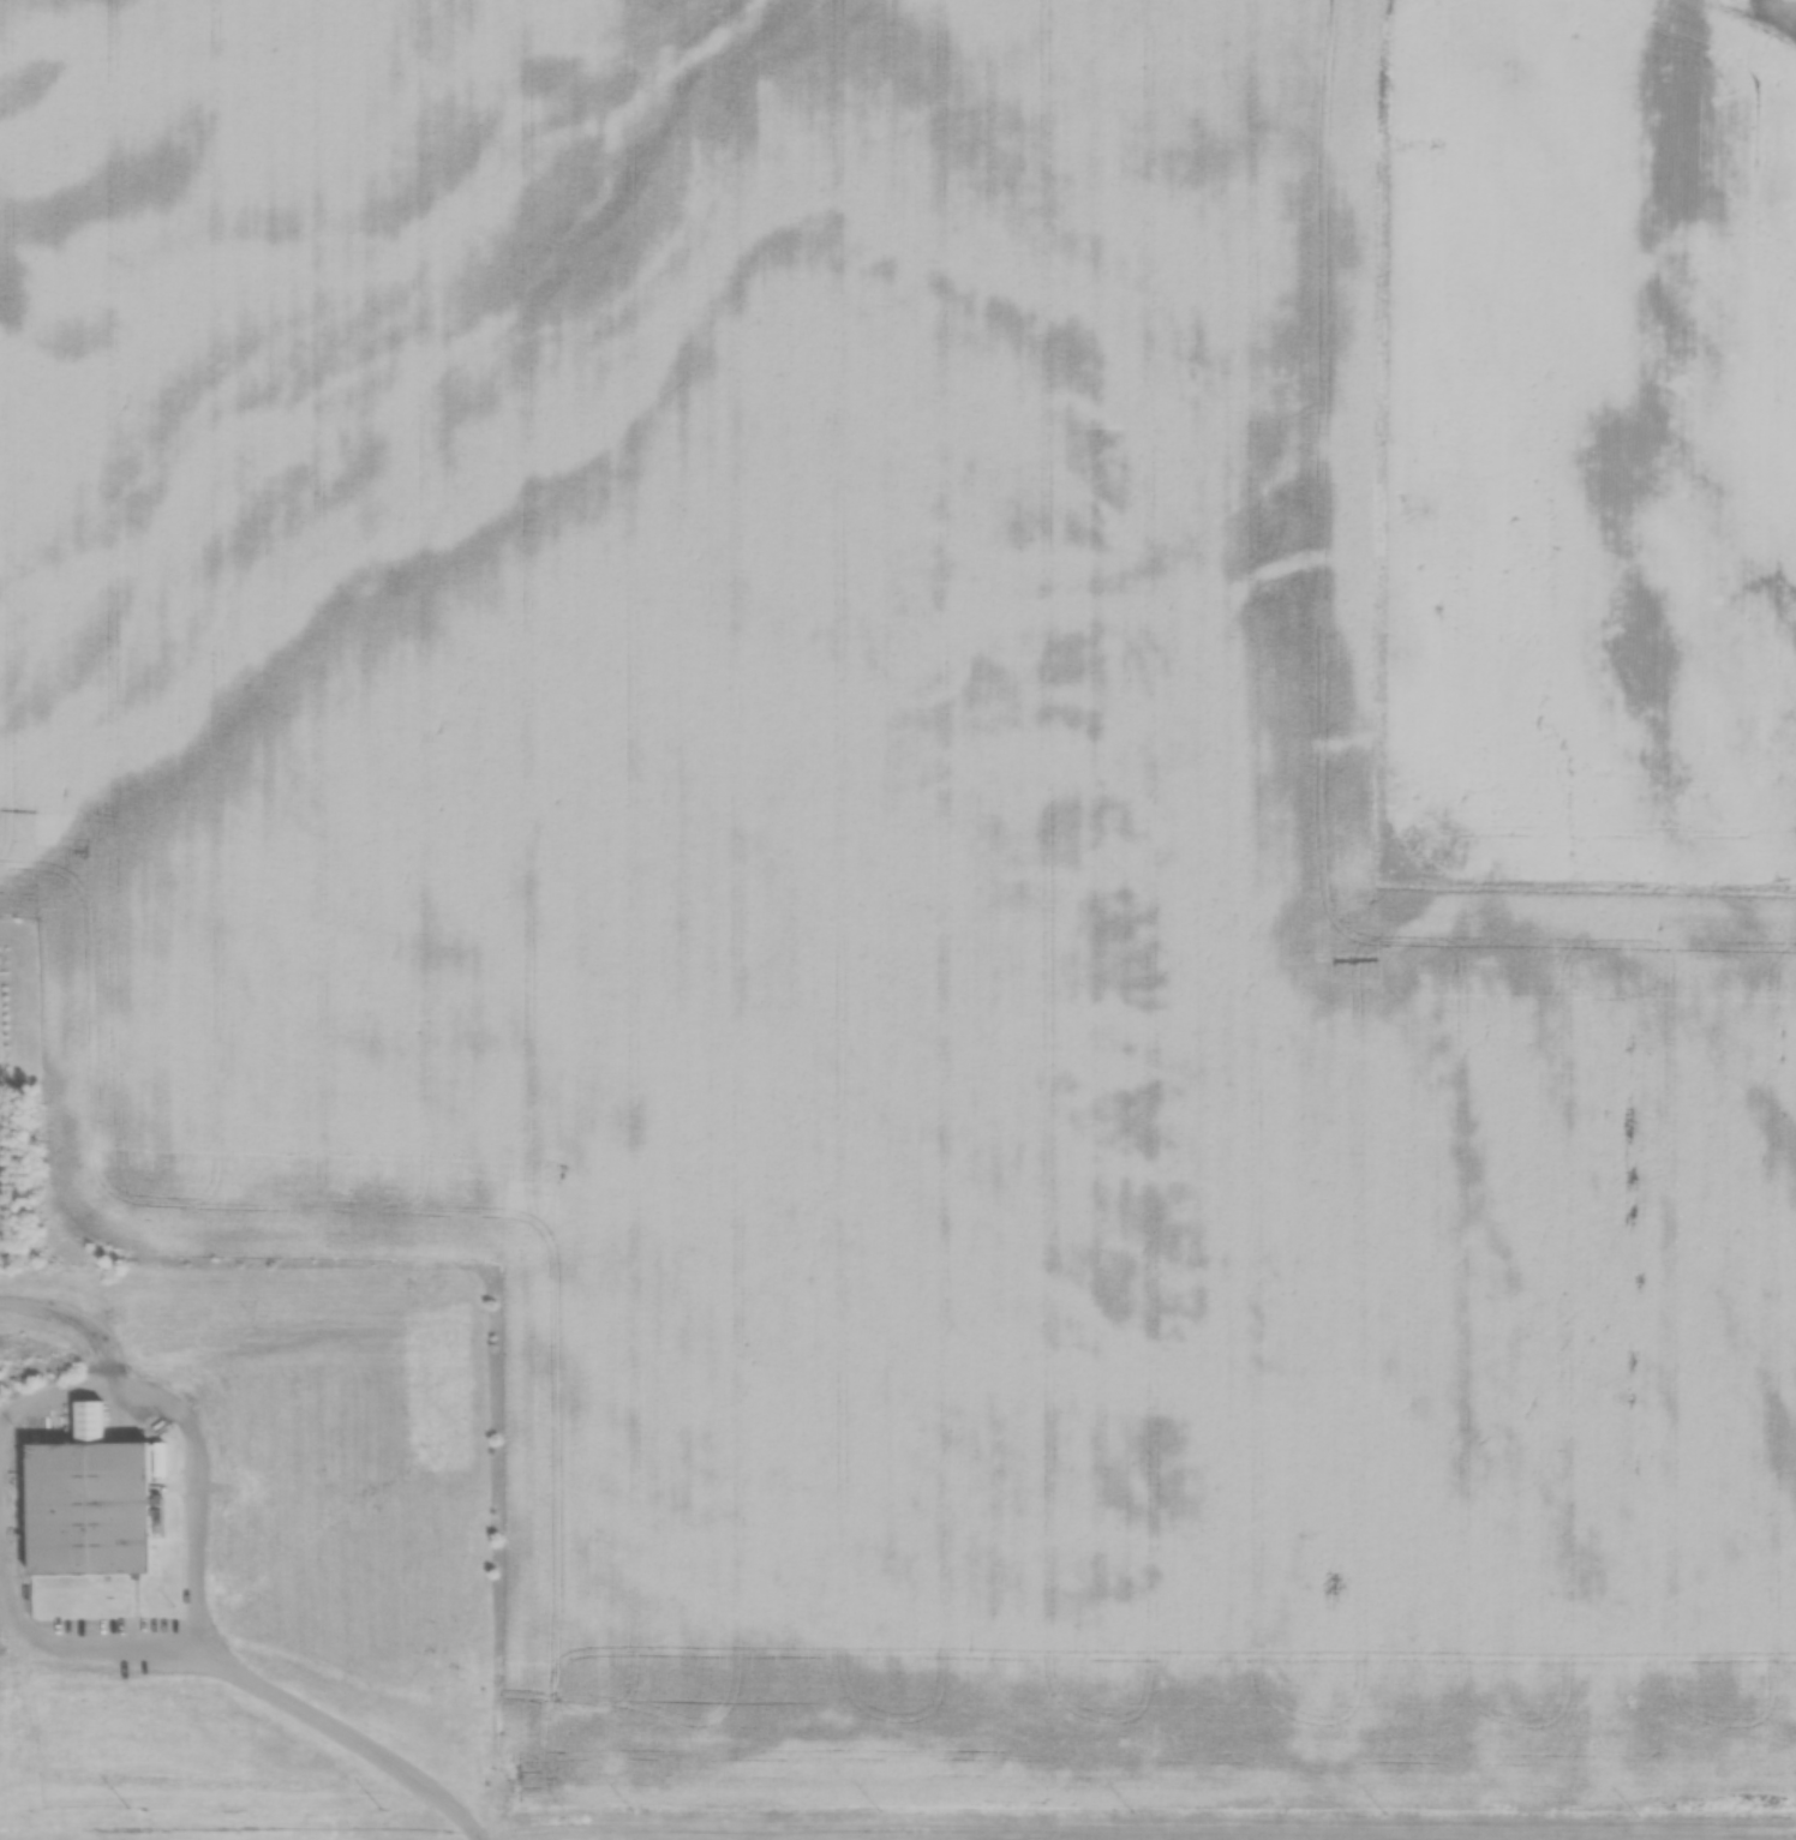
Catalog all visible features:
building: (1791, 0)
crop: (874, 891)
road: (72, 1317)
road: (48, 1398)
road: (192, 1482)
building: (89, 1509)
road: (94, 1644)
road: (341, 1737)

